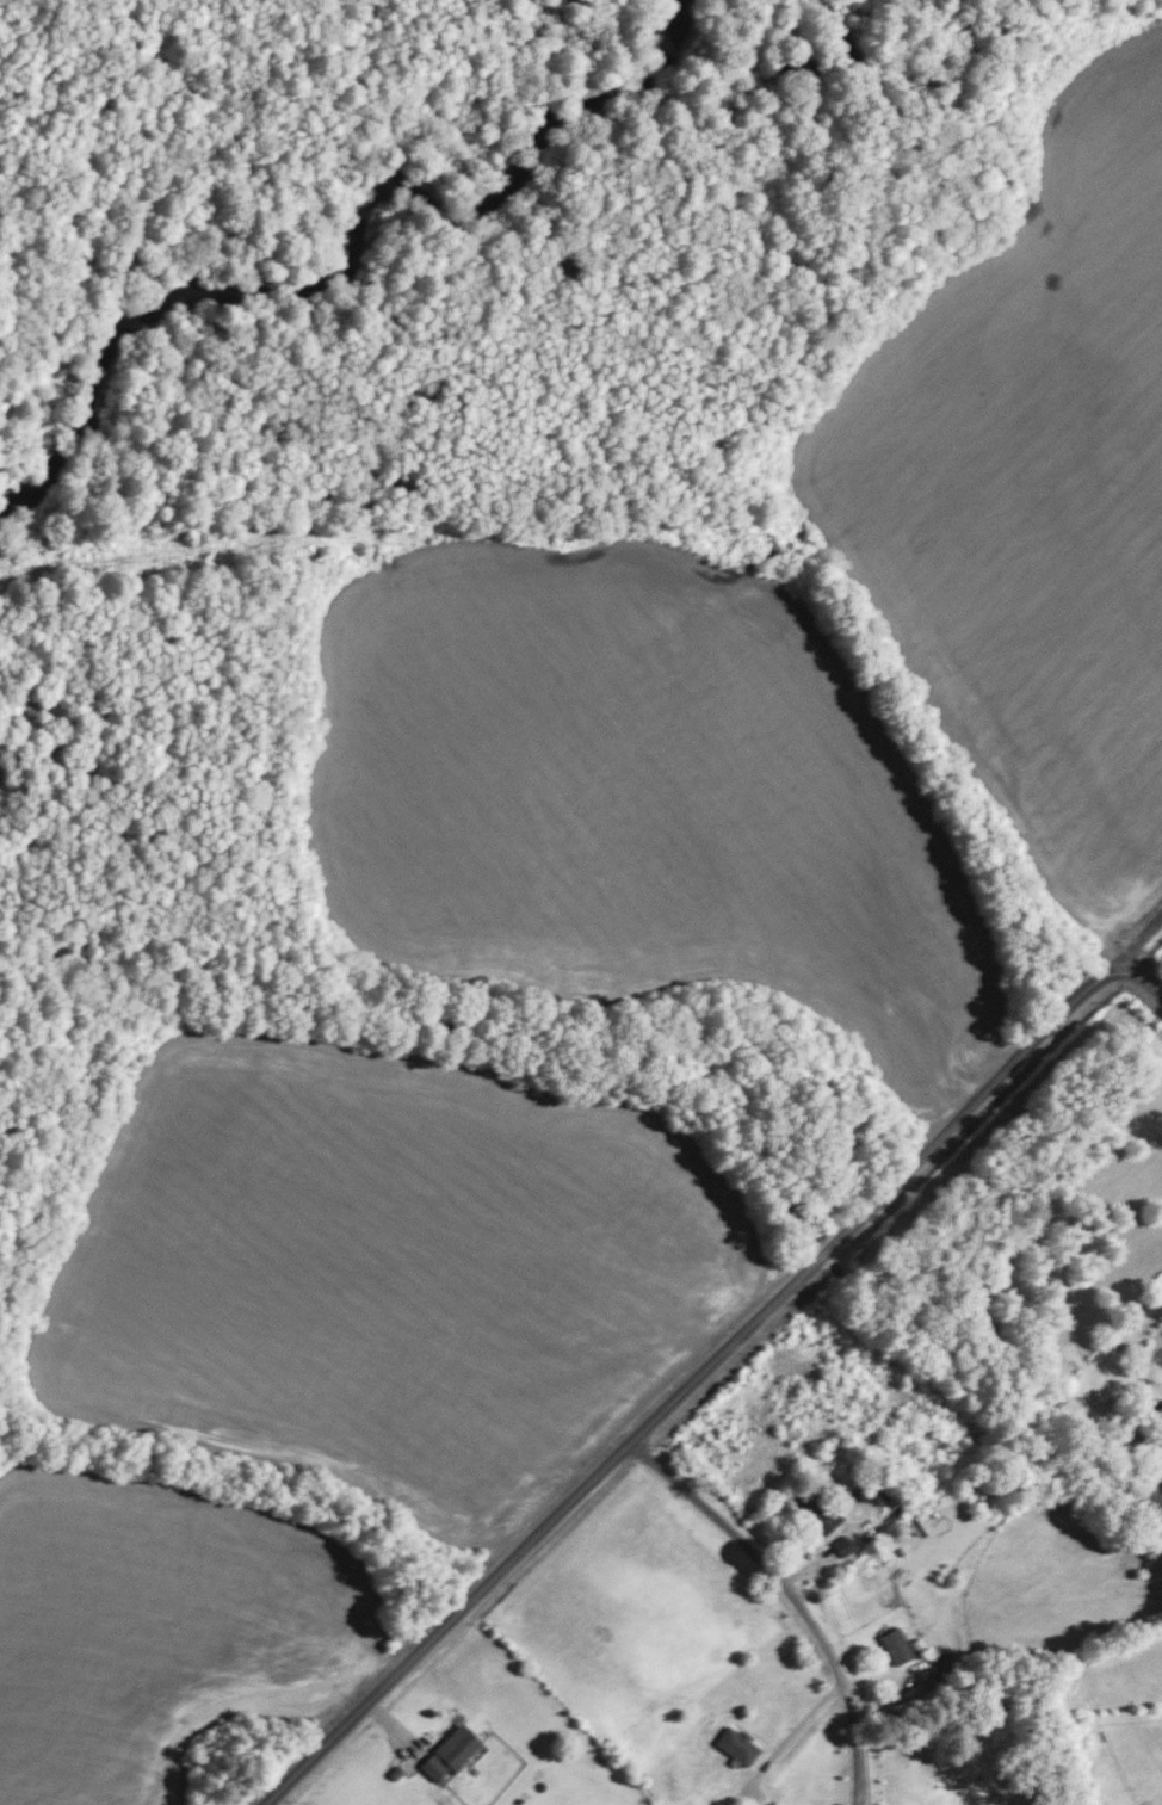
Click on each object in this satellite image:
river: (356, 256)
road: (1135, 935)
road: (1142, 975)
road: (1119, 1337)
road: (688, 1383)
building: (878, 1495)
building: (833, 1529)
road: (793, 1595)
building: (896, 1644)
road: (801, 1721)
building: (736, 1744)
building: (449, 1751)

